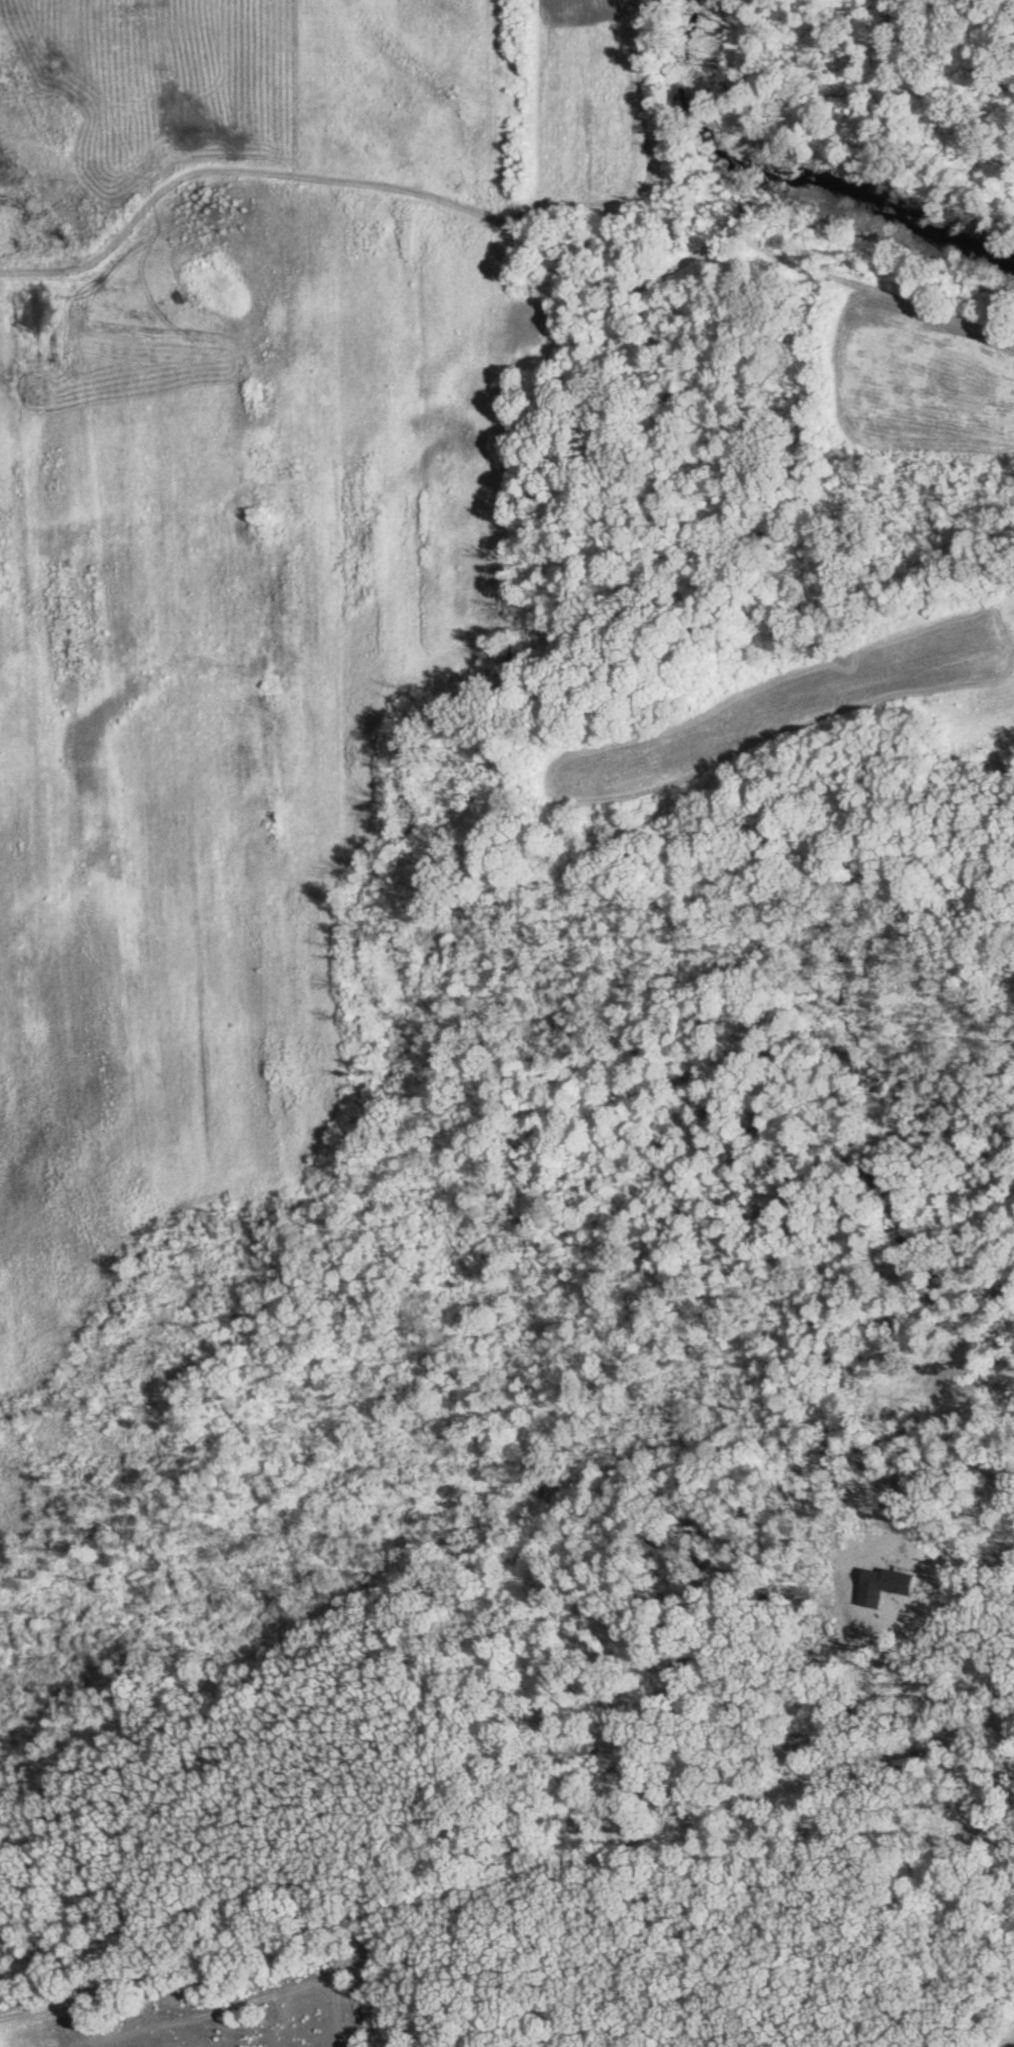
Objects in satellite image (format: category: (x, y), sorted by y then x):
road: (925, 1684)

